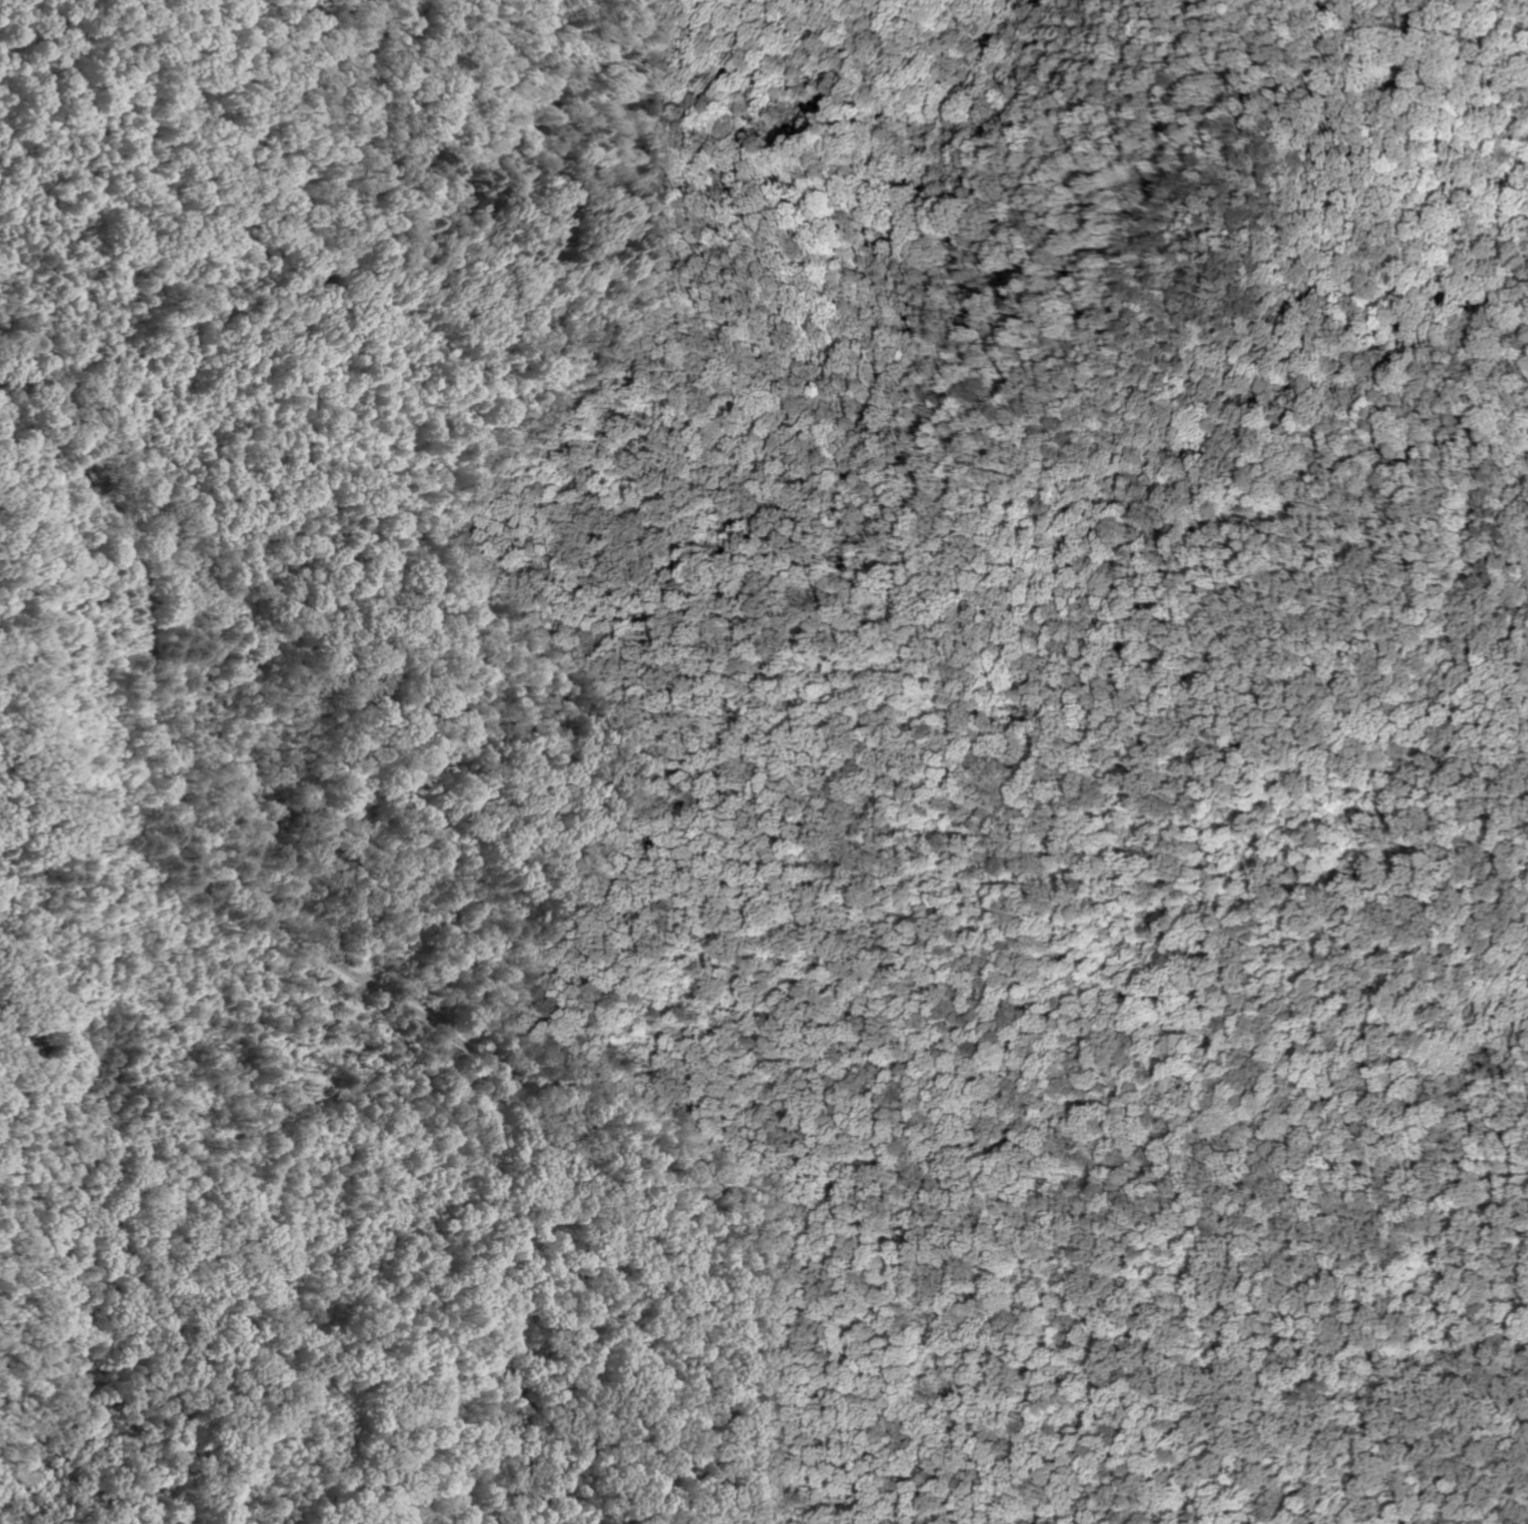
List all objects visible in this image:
road: (333, 959)

